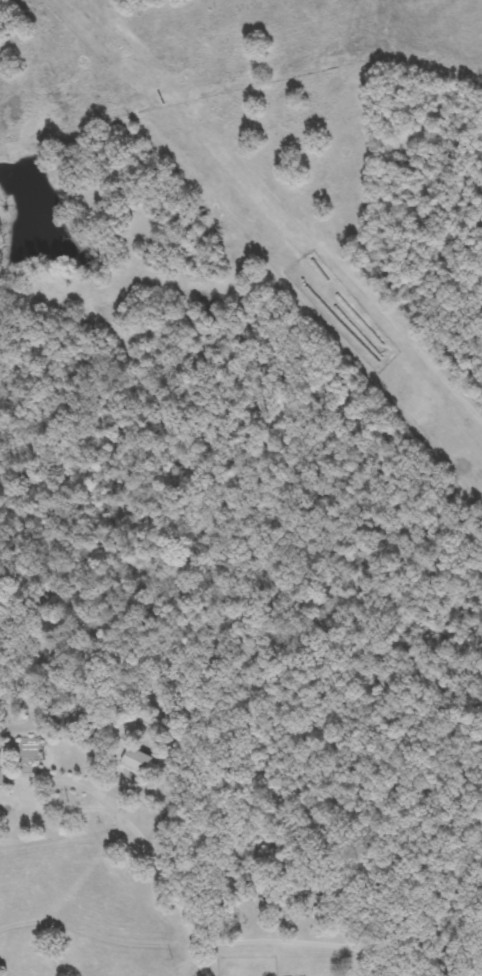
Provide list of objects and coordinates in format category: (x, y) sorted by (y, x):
building: (129, 760)
road: (30, 789)
road: (263, 948)

